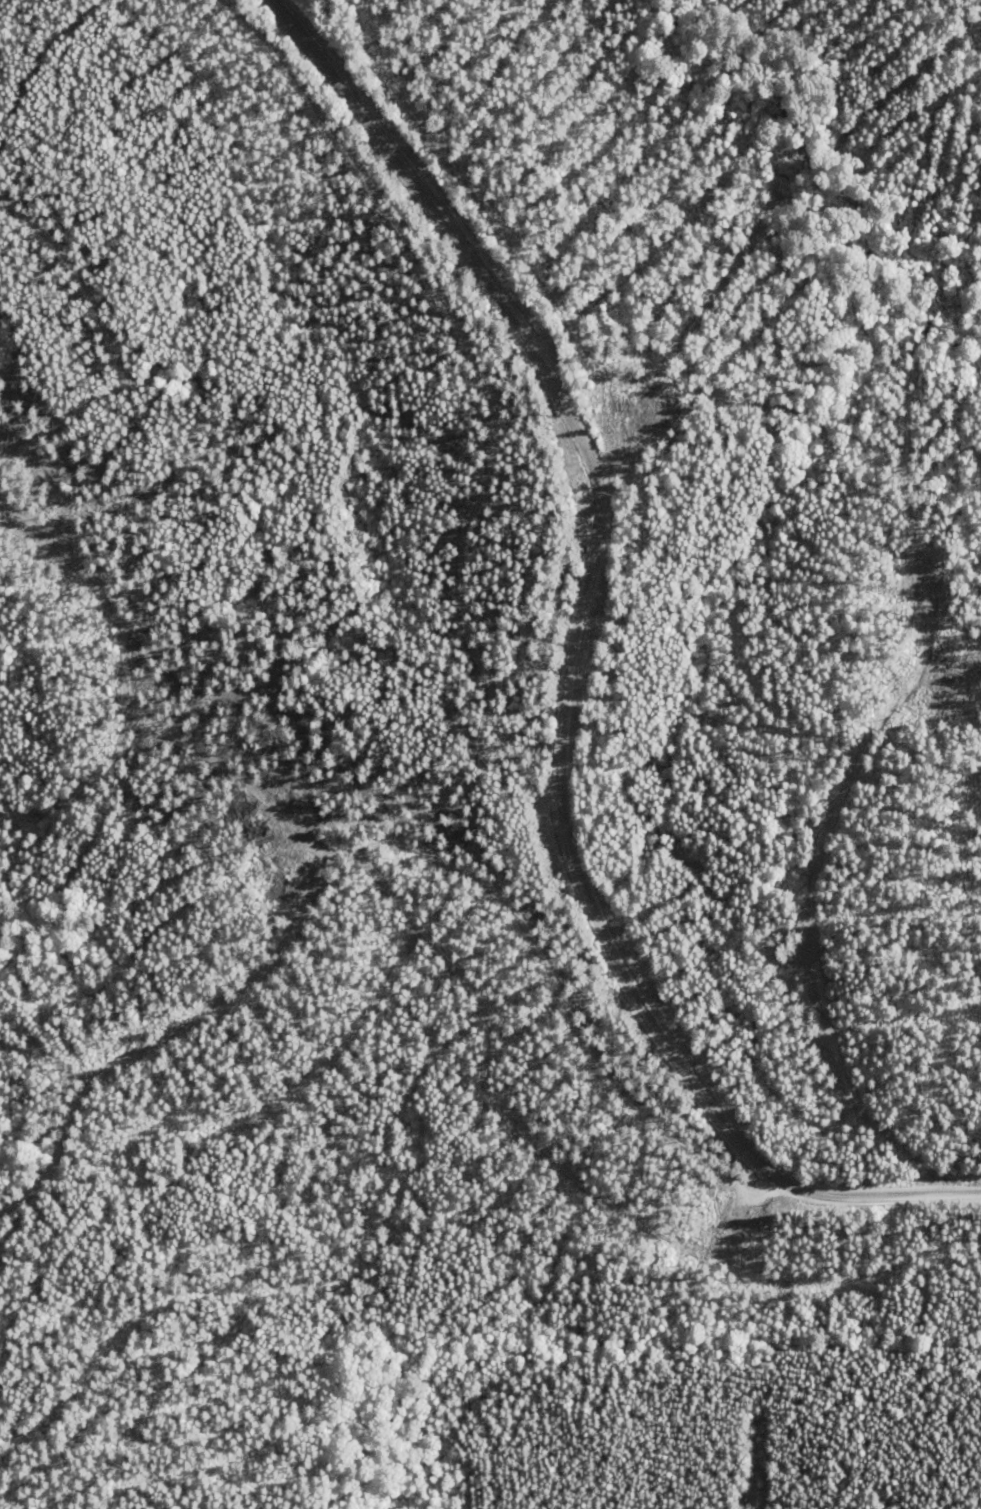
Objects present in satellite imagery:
road: (595, 647)

